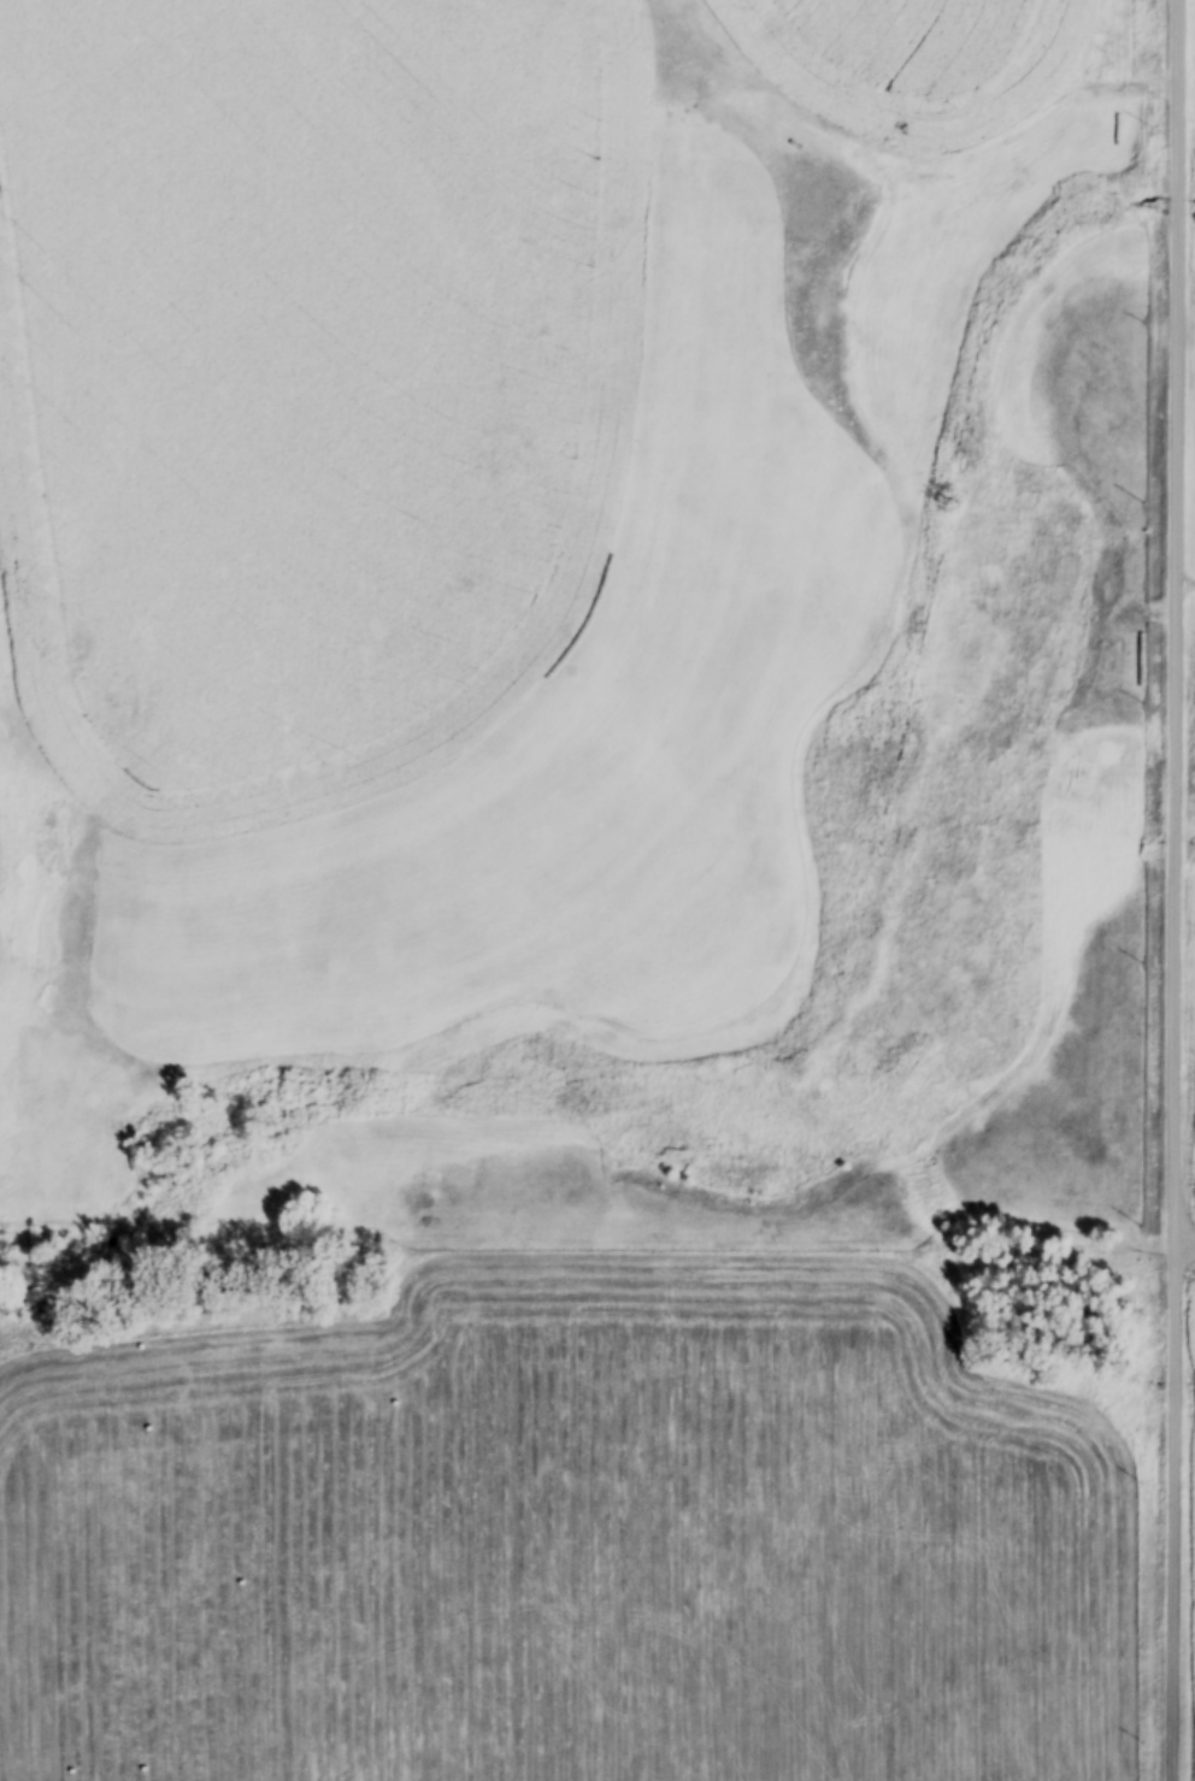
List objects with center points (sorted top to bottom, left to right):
road: (1177, 890)
road: (1185, 1258)

